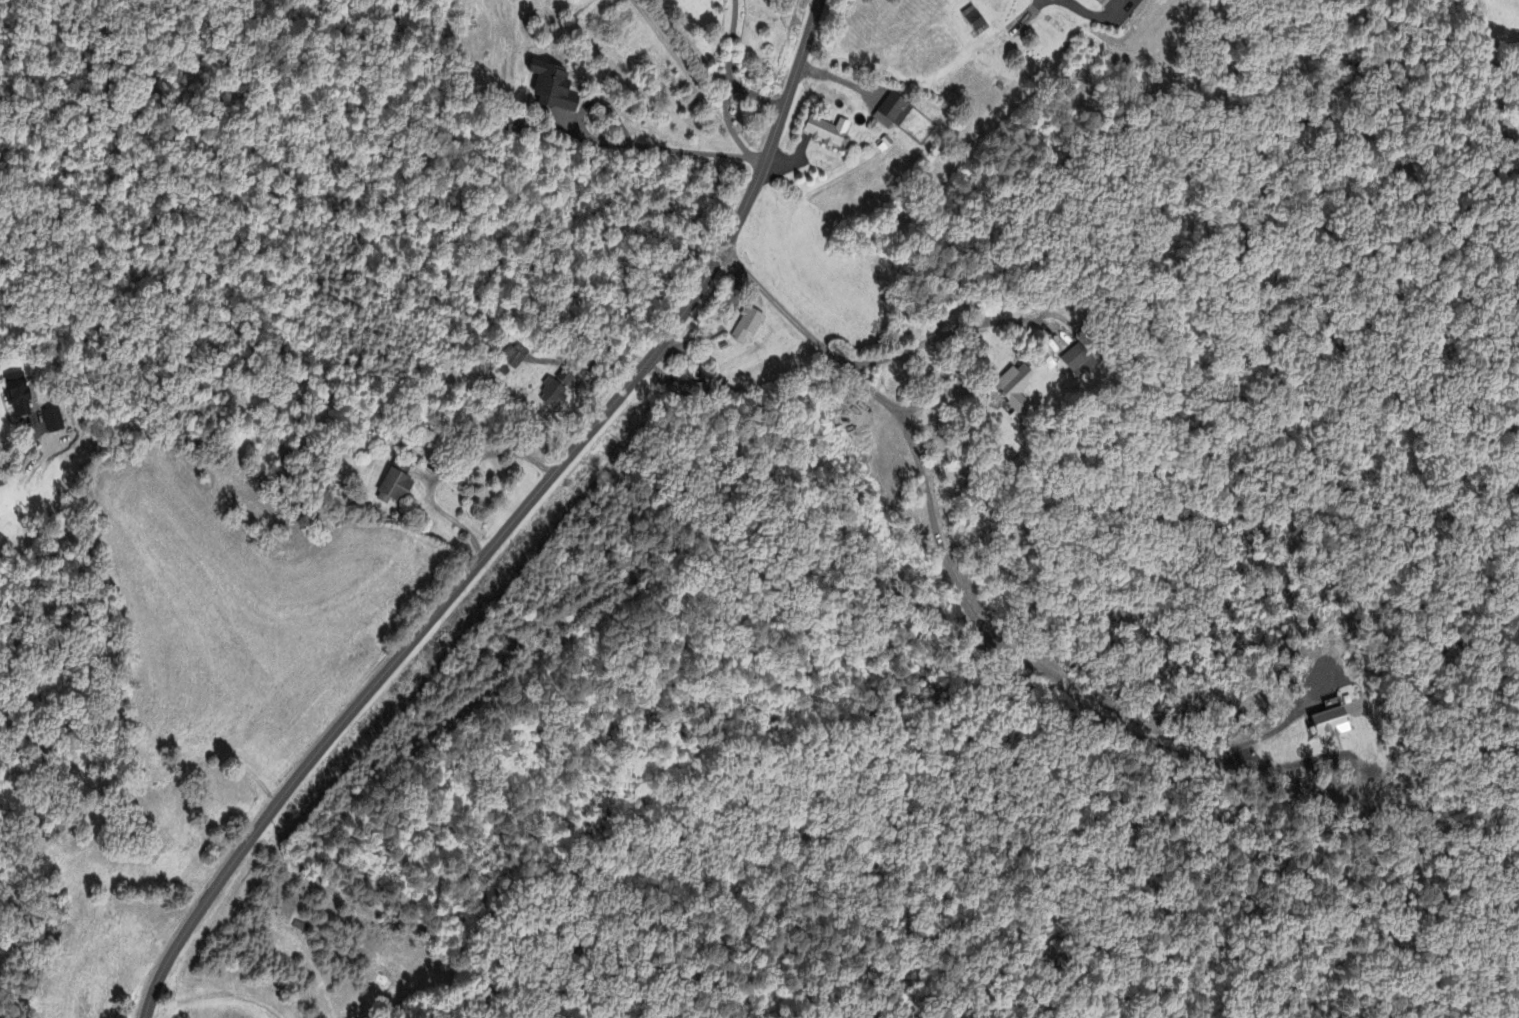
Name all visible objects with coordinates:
building: (1101, 0)
road: (1095, 9)
building: (974, 20)
road: (727, 88)
building: (555, 89)
road: (756, 96)
building: (894, 113)
building: (570, 124)
building: (828, 133)
road: (676, 151)
building: (748, 325)
road: (951, 326)
road: (718, 327)
building: (515, 356)
building: (1079, 362)
building: (1017, 387)
building: (553, 393)
building: (19, 395)
building: (53, 421)
road: (21, 459)
road: (446, 473)
building: (395, 488)
road: (510, 524)
road: (964, 578)
building: (1332, 724)

